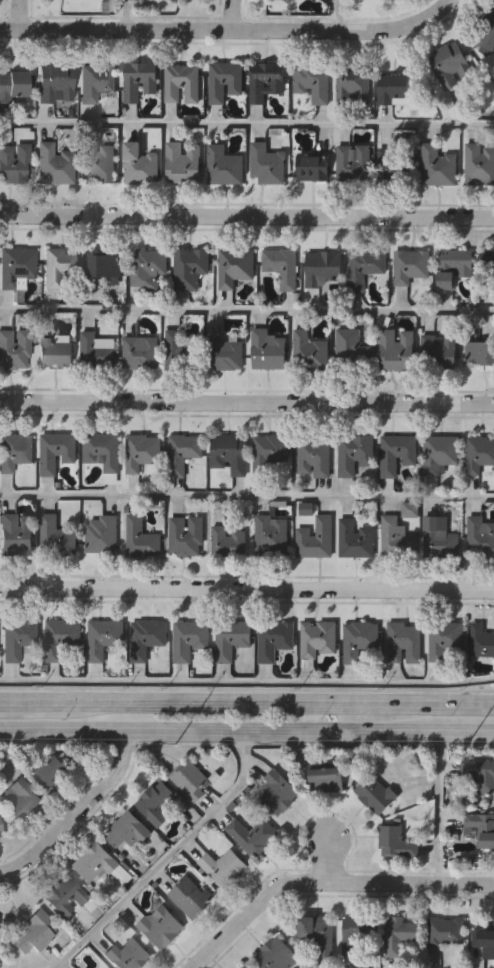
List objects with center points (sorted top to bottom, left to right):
building: (177, 0)
building: (388, 0)
building: (288, 2)
building: (492, 2)
road: (20, 14)
road: (128, 14)
road: (339, 14)
road: (233, 15)
road: (227, 29)
building: (486, 33)
building: (450, 64)
building: (138, 81)
building: (224, 81)
building: (264, 81)
building: (311, 82)
building: (55, 84)
building: (12, 85)
building: (91, 85)
building: (181, 85)
building: (352, 87)
building: (394, 90)
road: (247, 124)
building: (97, 163)
building: (182, 163)
building: (352, 163)
building: (14, 164)
building: (139, 164)
building: (53, 165)
building: (393, 165)
building: (479, 165)
building: (265, 166)
building: (223, 167)
building: (437, 167)
building: (312, 168)
road: (247, 215)
building: (58, 266)
building: (103, 266)
building: (281, 266)
building: (234, 267)
building: (364, 267)
building: (411, 267)
building: (453, 267)
building: (16, 268)
building: (148, 269)
building: (189, 269)
building: (321, 269)
building: (489, 270)
road: (247, 311)
building: (14, 350)
building: (350, 350)
building: (175, 351)
building: (267, 351)
building: (395, 351)
building: (53, 352)
building: (95, 352)
building: (308, 352)
building: (438, 352)
building: (140, 354)
building: (480, 354)
building: (223, 355)
road: (247, 401)
building: (14, 452)
building: (101, 452)
building: (141, 452)
building: (55, 453)
building: (182, 453)
building: (229, 454)
building: (396, 454)
building: (439, 454)
building: (478, 454)
building: (271, 455)
building: (354, 455)
building: (315, 458)
road: (247, 497)
building: (401, 534)
building: (15, 535)
building: (101, 536)
building: (185, 537)
building: (271, 537)
building: (55, 538)
building: (439, 538)
building: (479, 538)
building: (315, 539)
building: (140, 540)
building: (355, 540)
building: (228, 543)
road: (247, 588)
building: (18, 639)
building: (60, 639)
building: (102, 639)
building: (317, 639)
building: (188, 640)
building: (230, 640)
building: (273, 640)
building: (148, 642)
building: (359, 642)
building: (481, 642)
building: (445, 643)
building: (403, 644)
road: (247, 685)
road: (247, 700)
road: (215, 728)
road: (462, 731)
building: (48, 771)
building: (483, 777)
building: (190, 779)
building: (326, 779)
building: (277, 792)
building: (374, 793)
building: (21, 798)
building: (154, 803)
road: (439, 807)
road: (81, 815)
building: (480, 829)
building: (126, 830)
building: (0, 835)
building: (251, 835)
building: (395, 842)
road: (168, 856)
road: (331, 858)
building: (94, 865)
building: (221, 866)
road: (328, 883)
building: (64, 896)
building: (189, 897)
building: (159, 926)
building: (32, 932)
building: (445, 932)
building: (398, 934)
building: (317, 935)
building: (352, 936)
building: (484, 940)
building: (126, 955)
building: (275, 955)
building: (245, 967)
building: (248, 967)

